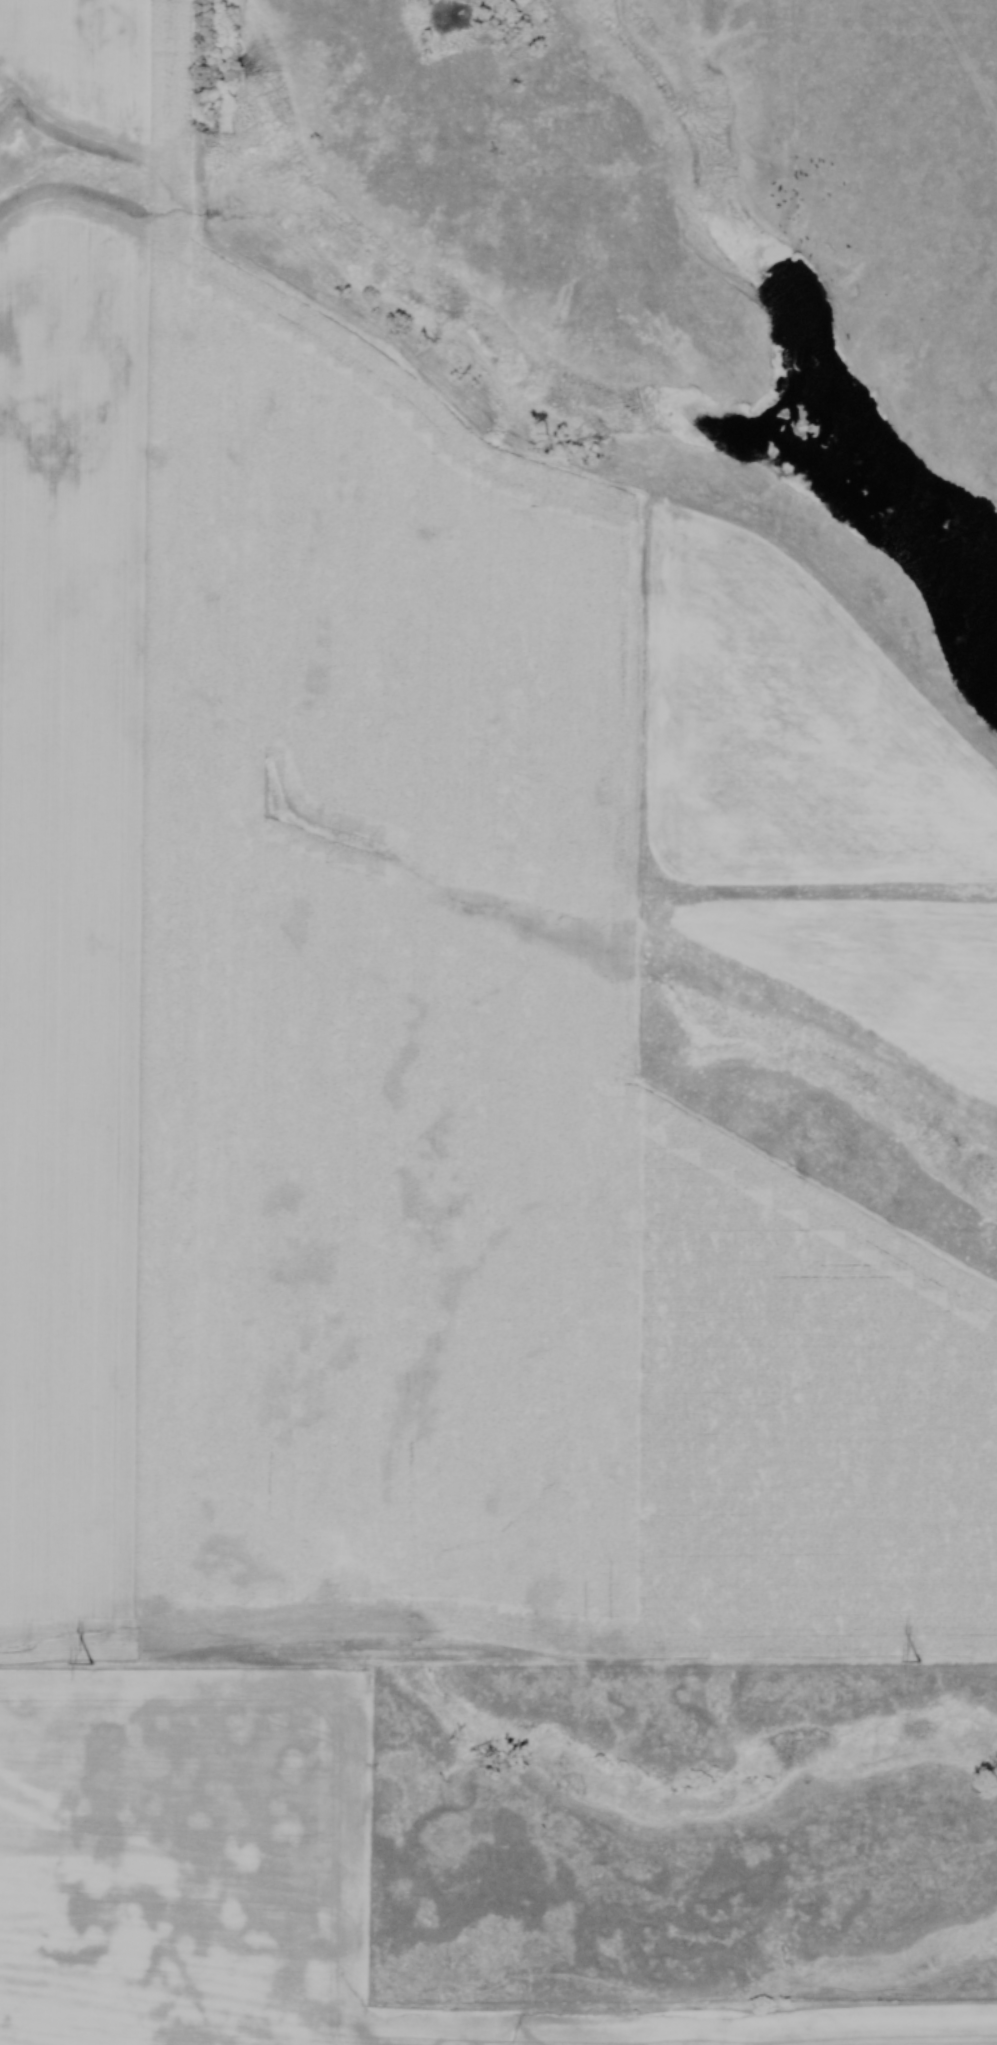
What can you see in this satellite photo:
power tower: (918, 1661)
power tower: (90, 1662)

